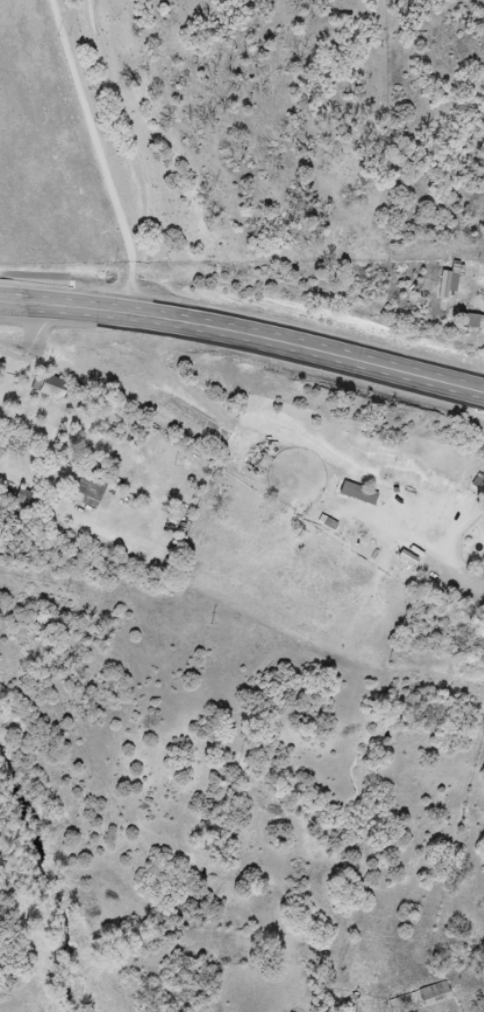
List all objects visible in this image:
road: (99, 153)
building: (451, 280)
road: (244, 332)
building: (53, 388)
building: (1, 437)
building: (361, 495)
building: (436, 994)

